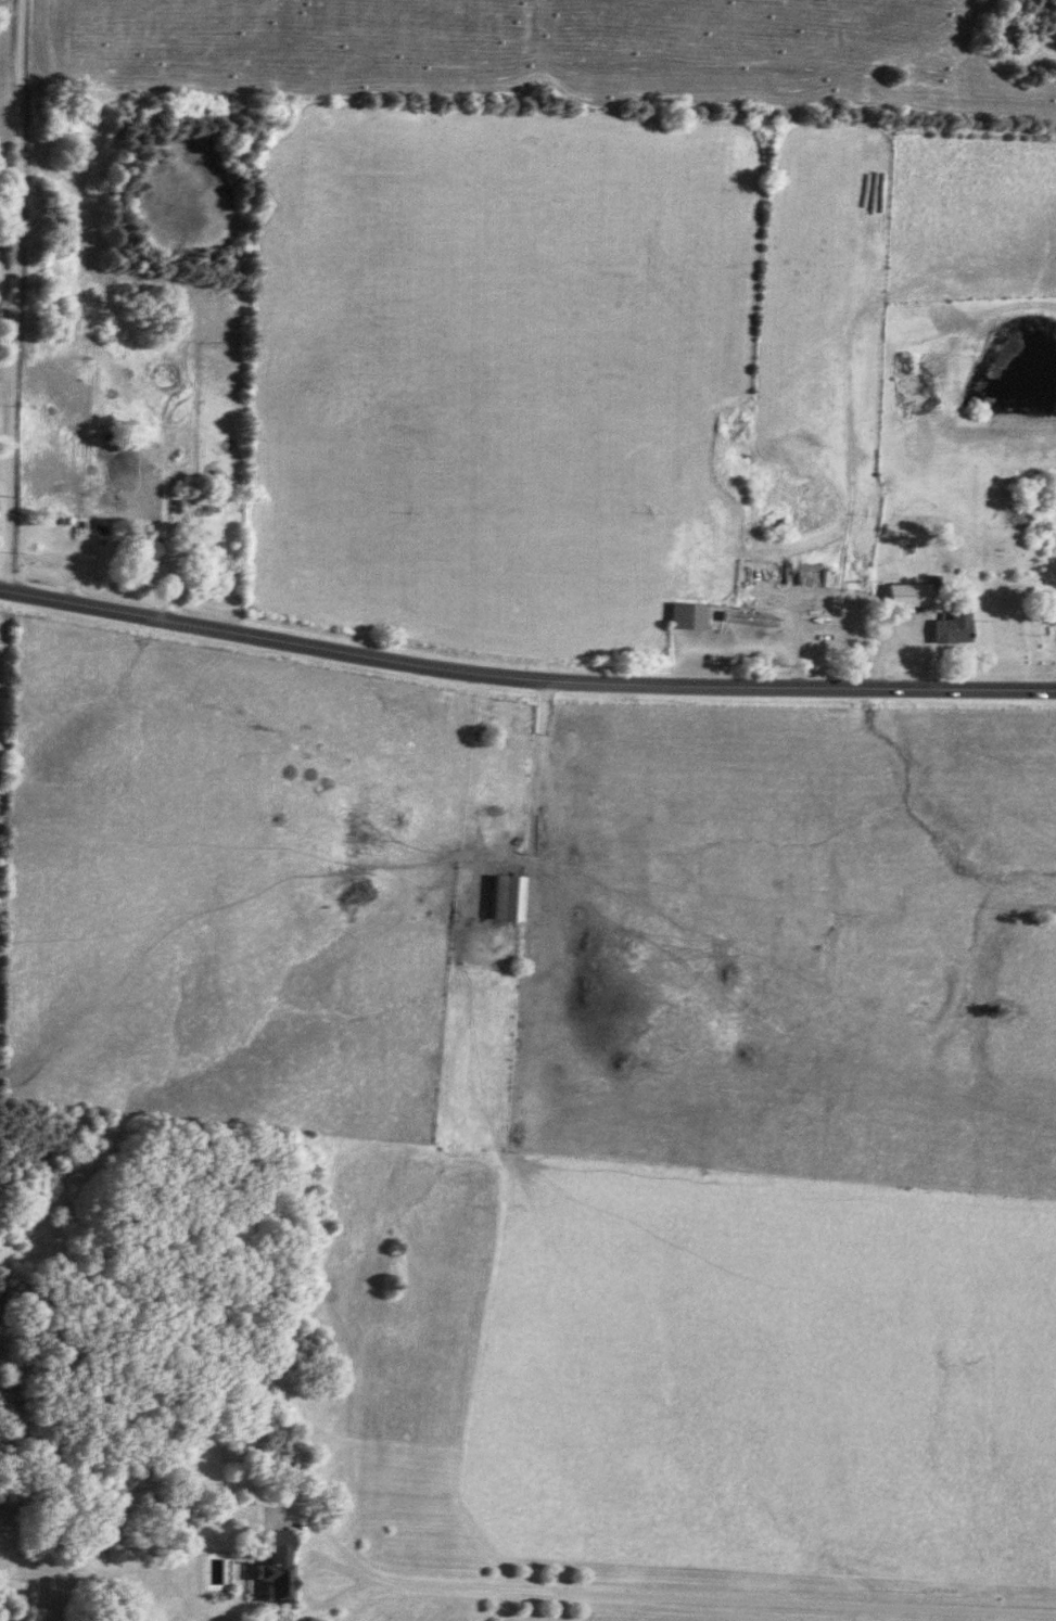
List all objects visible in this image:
road: (13, 294)
building: (140, 556)
building: (803, 577)
building: (903, 597)
building: (1049, 616)
building: (680, 617)
building: (742, 621)
building: (947, 627)
road: (524, 678)
building: (501, 901)
building: (268, 1566)
road: (660, 1596)

